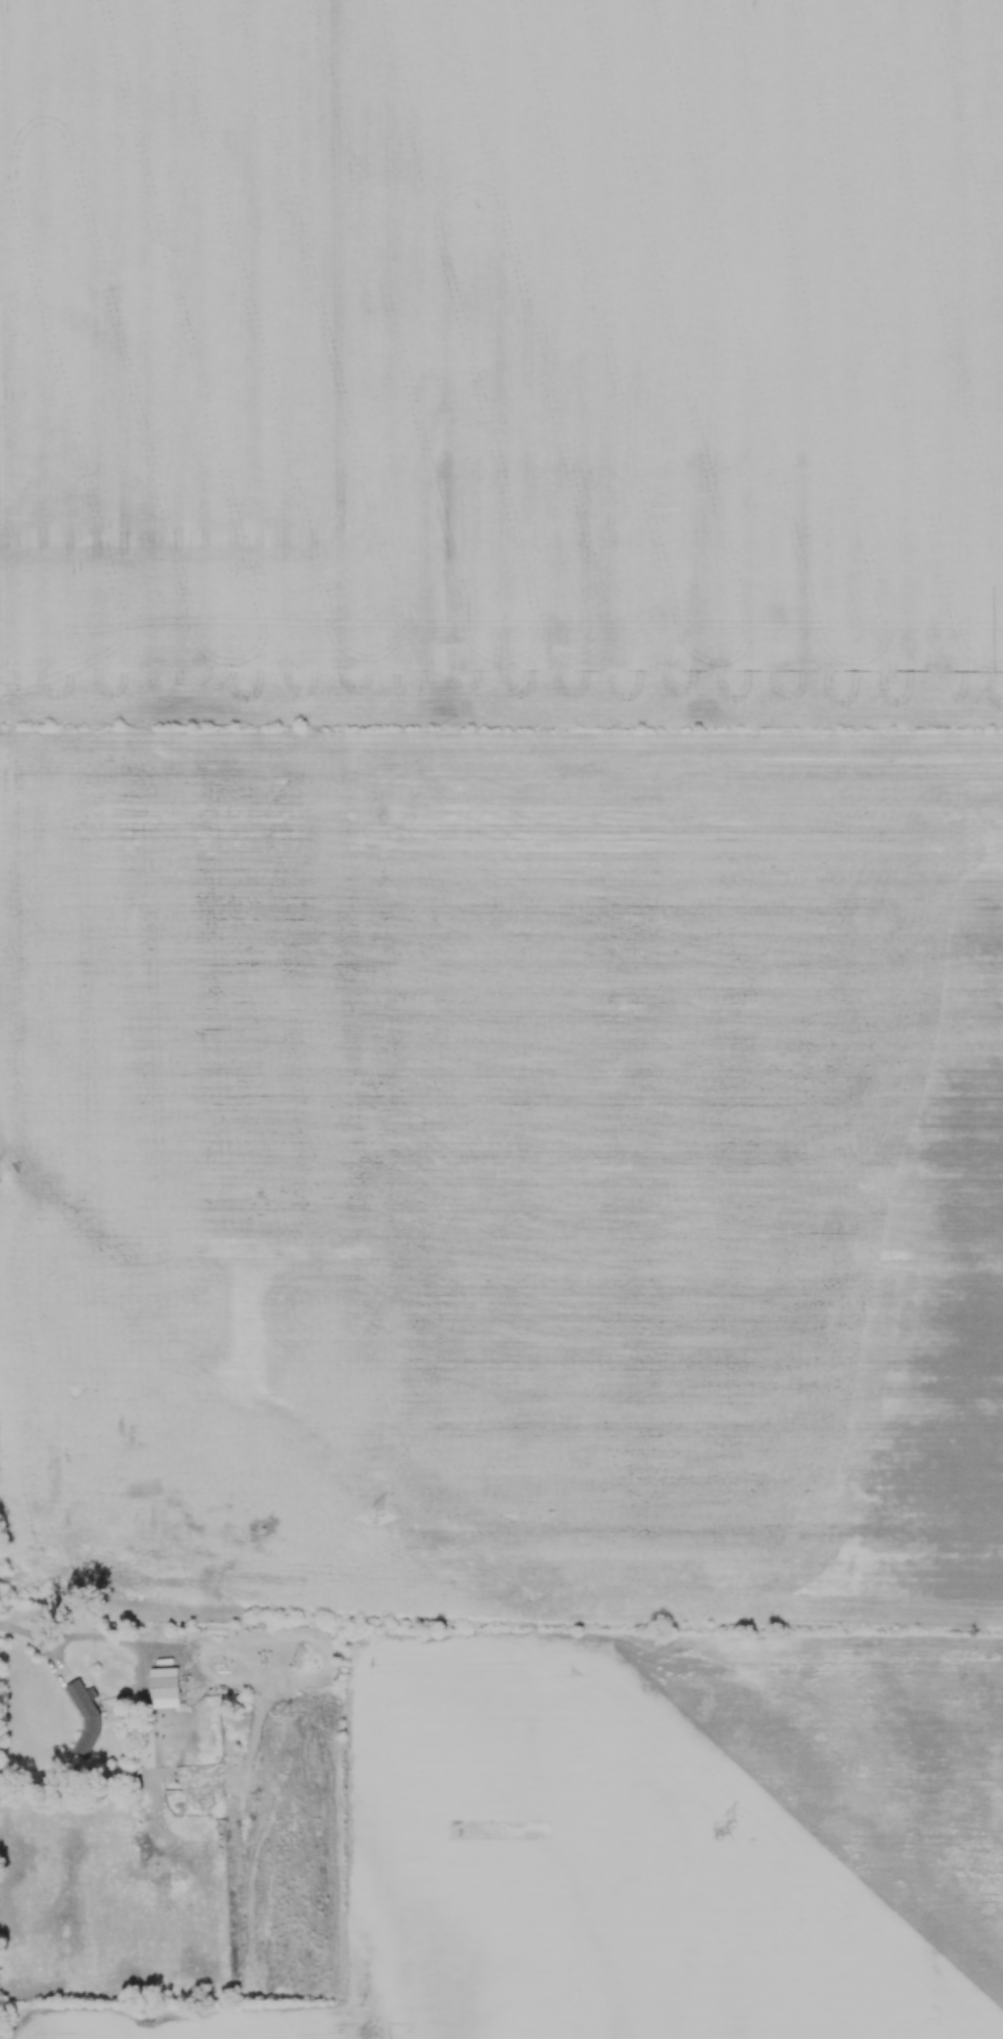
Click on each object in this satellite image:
power tower: (379, 1521)
road: (104, 1634)
road: (36, 1636)
power tower: (734, 1824)

